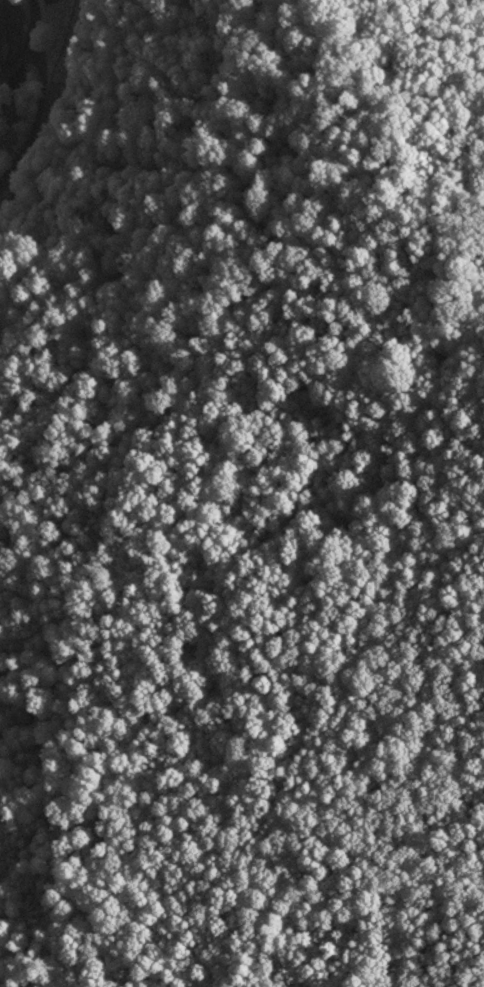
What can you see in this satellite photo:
road: (30, 30)
road: (10, 68)
road: (41, 117)

